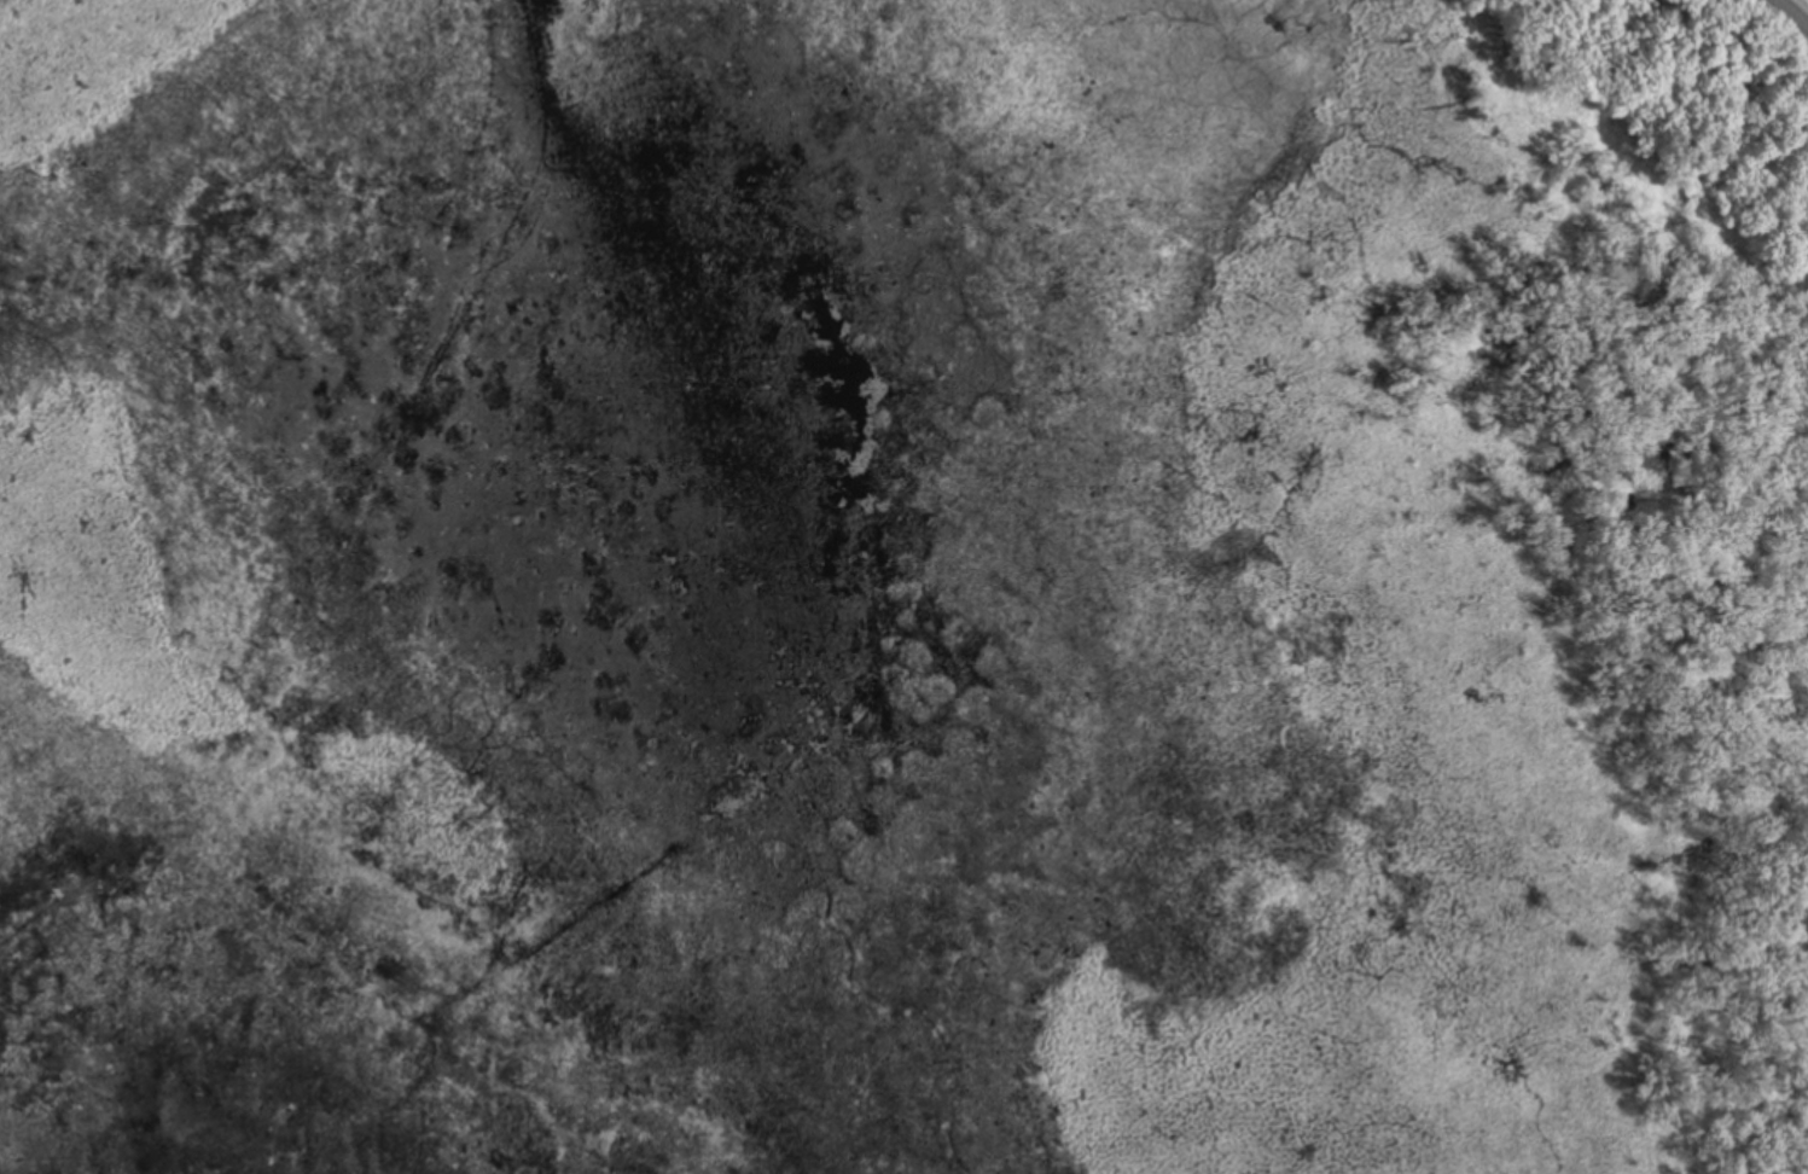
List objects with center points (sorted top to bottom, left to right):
road: (1794, 11)

